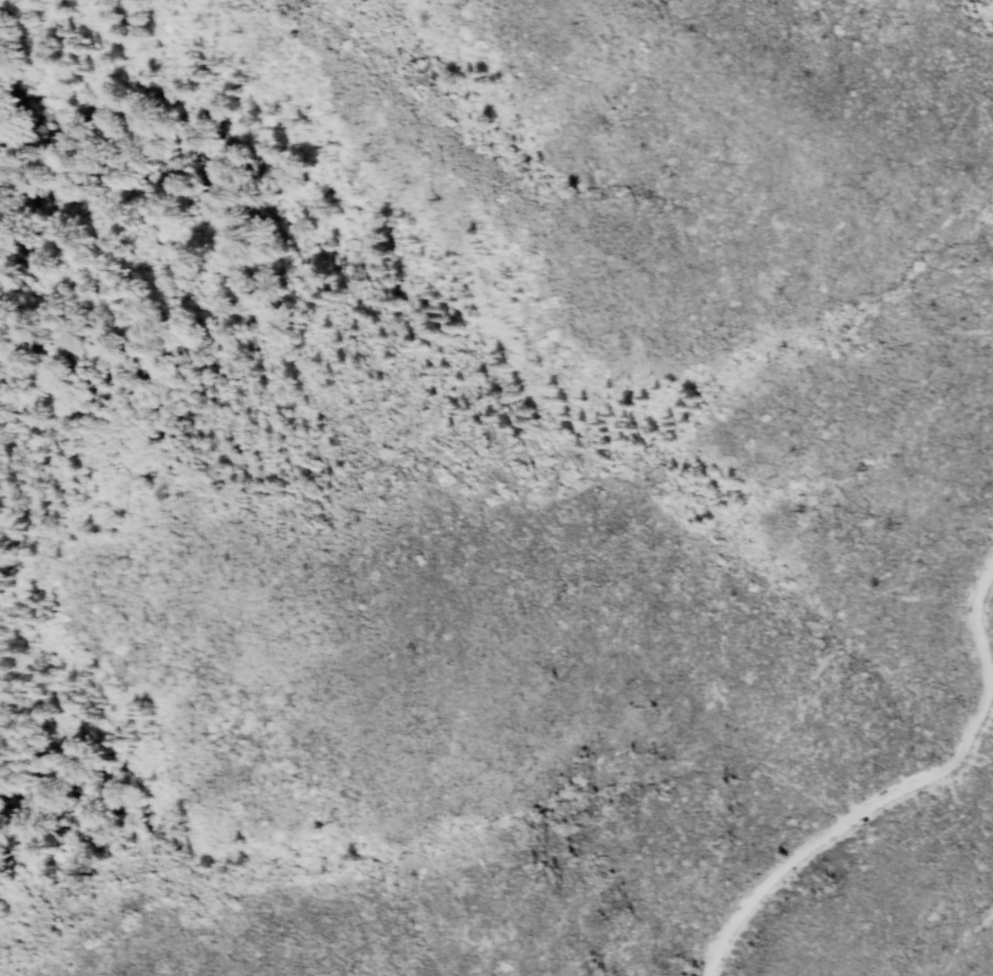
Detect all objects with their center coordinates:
road: (902, 789)
road: (963, 943)

